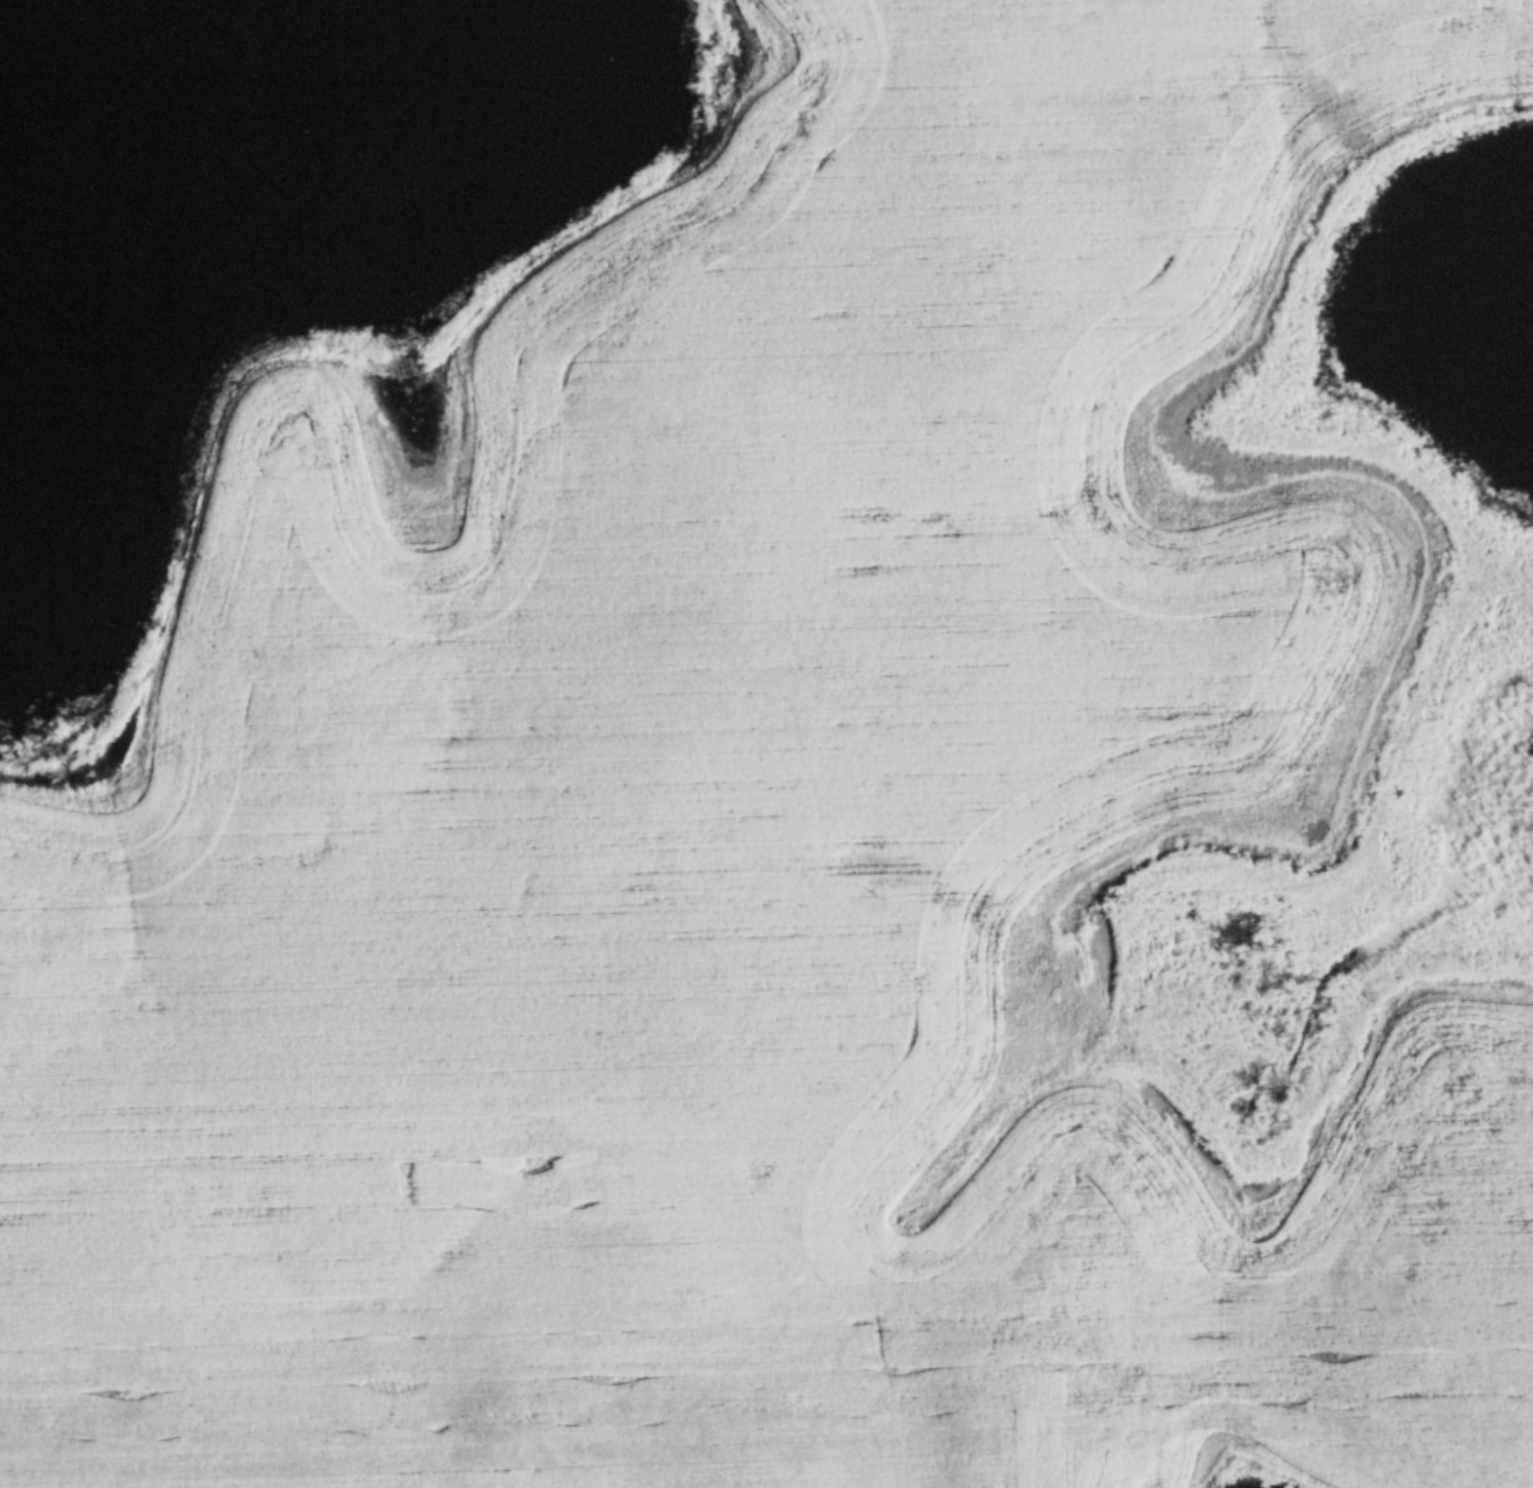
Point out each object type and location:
road: (766, 1355)

